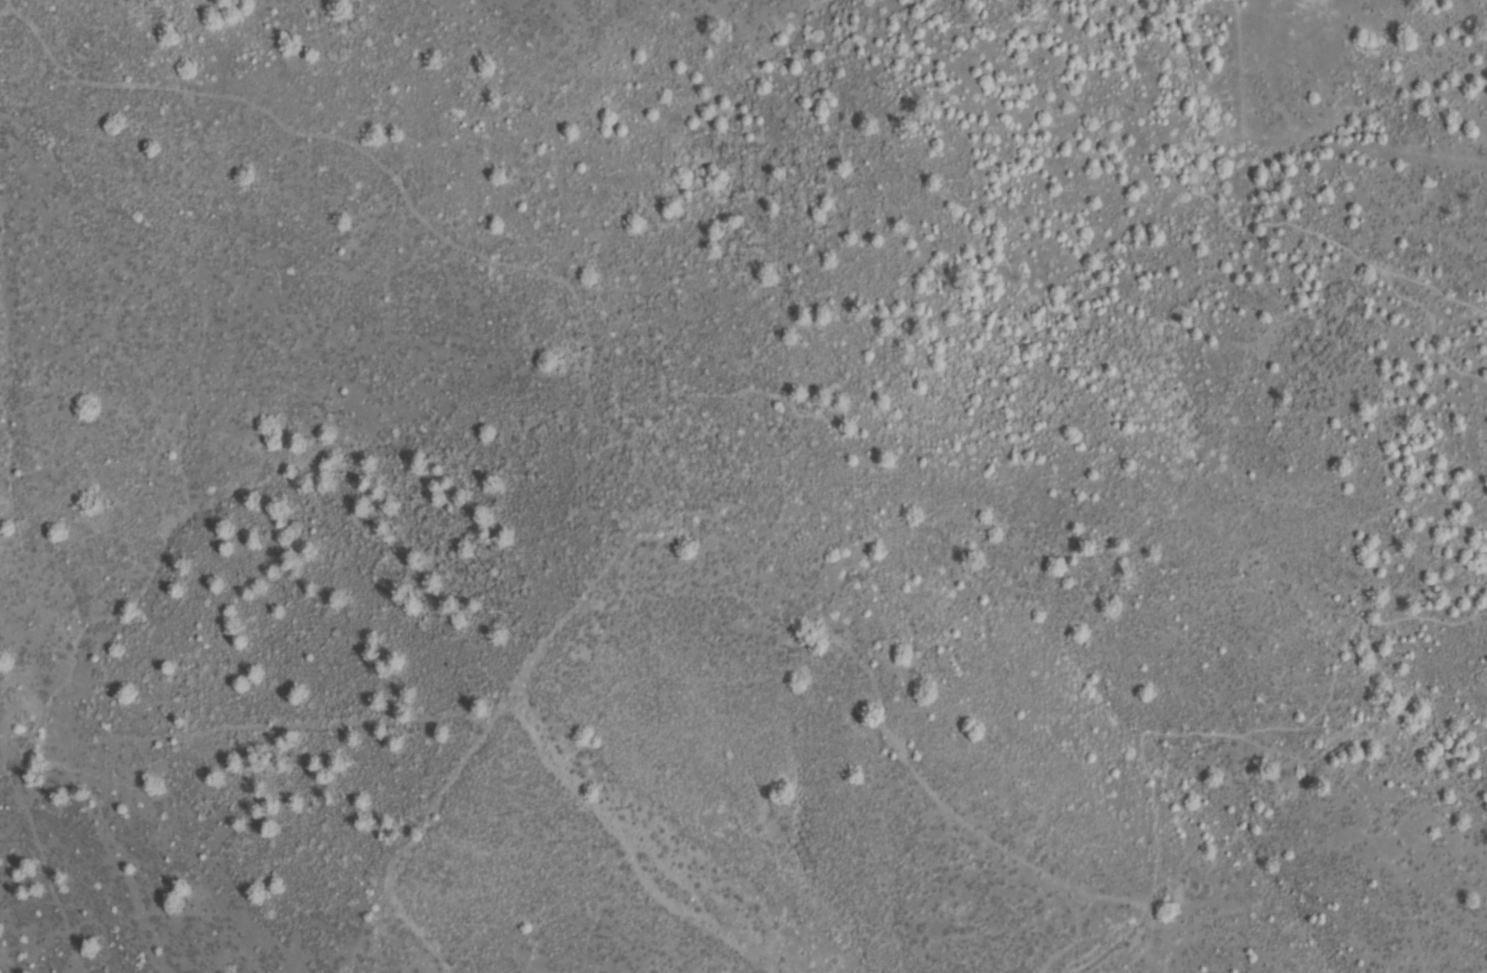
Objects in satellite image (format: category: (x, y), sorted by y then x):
road: (1273, 226)
road: (1205, 729)

